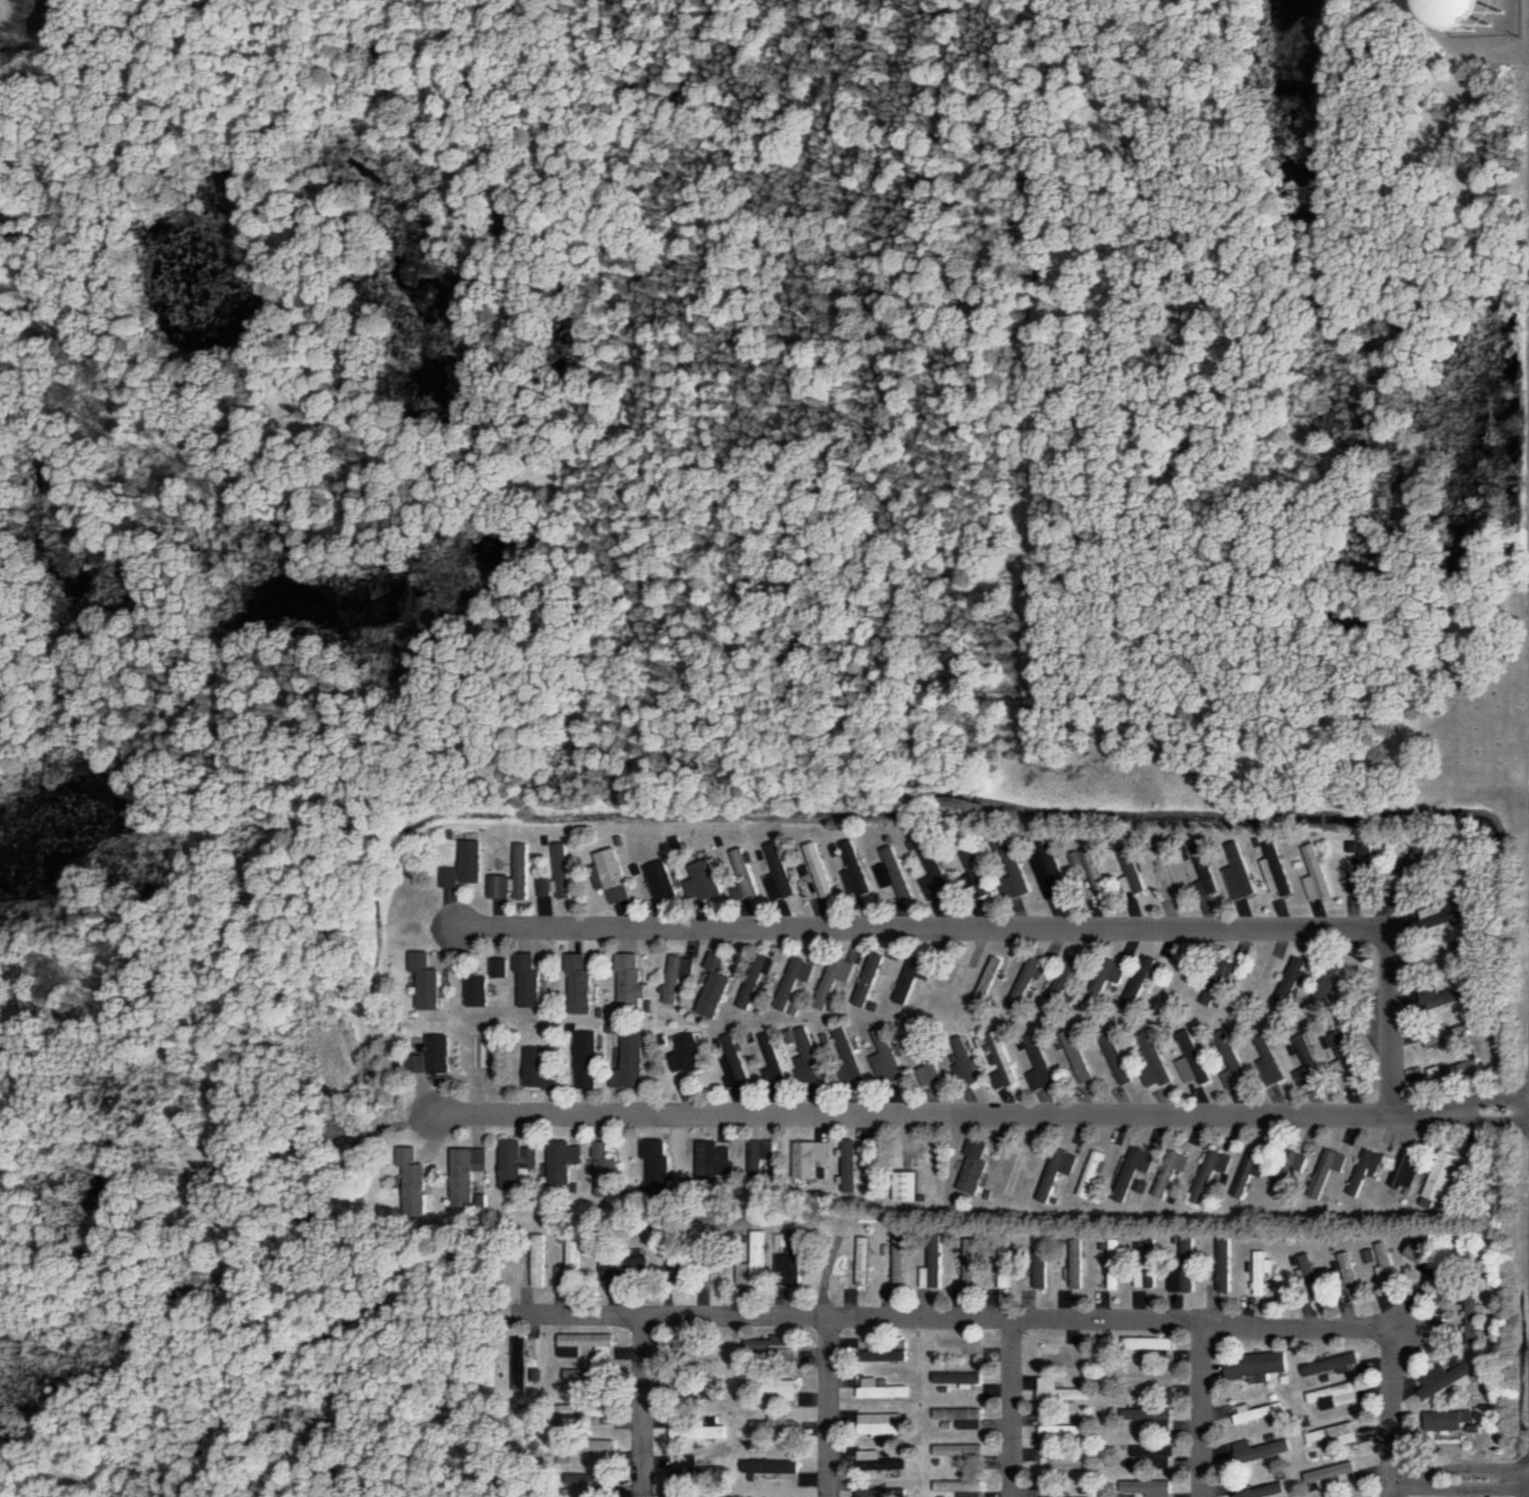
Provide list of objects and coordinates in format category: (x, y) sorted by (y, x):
water tower: (1476, 4)
building: (1408, 9)
park: (1275, 734)
building: (472, 860)
building: (1087, 865)
building: (854, 866)
building: (890, 868)
building: (1010, 868)
building: (562, 869)
building: (1045, 869)
building: (820, 870)
building: (522, 871)
building: (969, 871)
building: (781, 873)
building: (1166, 873)
building: (1205, 874)
building: (616, 875)
building: (745, 876)
building: (1241, 876)
building: (1273, 878)
building: (663, 880)
building: (706, 881)
building: (1124, 883)
building: (500, 886)
building: (545, 886)
building: (933, 888)
building: (1439, 919)
road: (1009, 928)
building: (1448, 958)
building: (500, 967)
building: (838, 974)
building: (1179, 974)
building: (1108, 975)
building: (679, 976)
building: (1064, 976)
building: (1141, 976)
building: (1255, 976)
building: (798, 978)
building: (871, 978)
building: (529, 979)
building: (428, 980)
building: (581, 980)
building: (757, 980)
building: (987, 980)
building: (1294, 980)
building: (632, 981)
building: (1026, 981)
building: (1217, 981)
building: (716, 985)
building: (478, 990)
building: (1441, 994)
building: (1451, 1034)
building: (1339, 1050)
building: (808, 1054)
building: (850, 1054)
building: (690, 1055)
building: (483, 1056)
building: (1081, 1056)
building: (774, 1057)
building: (887, 1057)
building: (1158, 1057)
building: (434, 1058)
building: (589, 1058)
building: (1005, 1058)
building: (1193, 1059)
building: (1306, 1060)
building: (632, 1061)
building: (736, 1061)
building: (928, 1061)
building: (1271, 1061)
building: (966, 1063)
building: (1043, 1063)
building: (540, 1068)
building: (1232, 1079)
road: (979, 1112)
building: (656, 1149)
building: (760, 1156)
building: (811, 1157)
building: (565, 1160)
building: (518, 1161)
building: (714, 1161)
building: (1027, 1163)
building: (978, 1165)
building: (853, 1166)
building: (608, 1169)
building: (1406, 1169)
building: (1252, 1170)
building: (1060, 1172)
building: (468, 1173)
building: (1288, 1173)
building: (1326, 1173)
building: (1365, 1173)
building: (1096, 1174)
building: (1135, 1174)
building: (1172, 1174)
building: (1210, 1175)
building: (413, 1181)
building: (1441, 1182)
building: (908, 1185)
building: (788, 1254)
building: (760, 1257)
building: (935, 1259)
building: (865, 1260)
building: (1309, 1260)
building: (900, 1261)
building: (1044, 1261)
building: (1430, 1261)
building: (972, 1262)
building: (572, 1263)
building: (1079, 1263)
building: (1226, 1263)
building: (1387, 1263)
building: (1119, 1264)
building: (1008, 1267)
building: (1186, 1267)
building: (1263, 1272)
building: (1150, 1273)
building: (1353, 1276)
road: (675, 1315)
road: (1195, 1324)
building: (592, 1341)
building: (1153, 1343)
building: (768, 1345)
building: (887, 1353)
building: (1064, 1353)
building: (1350, 1359)
building: (1259, 1365)
building: (1446, 1376)
building: (960, 1377)
building: (591, 1379)
building: (883, 1388)
building: (791, 1389)
building: (1064, 1390)
building: (1335, 1394)
road: (641, 1406)
road: (828, 1407)
road: (1013, 1409)
building: (594, 1411)
road: (1203, 1411)
building: (1262, 1412)
building: (962, 1413)
building: (1151, 1415)
building: (1454, 1422)
building: (884, 1423)
building: (773, 1425)
building: (1067, 1428)
building: (700, 1432)
building: (1336, 1434)
building: (594, 1446)
building: (962, 1449)
building: (1264, 1449)
building: (1159, 1454)
building: (881, 1462)
building: (772, 1467)
road: (1460, 1476)
building: (962, 1486)
building: (1150, 1488)
building: (1266, 1490)

